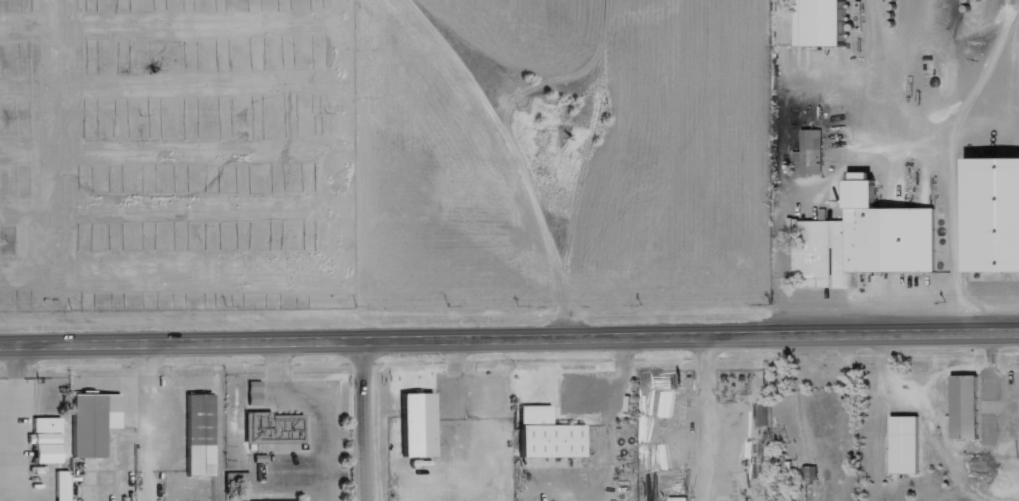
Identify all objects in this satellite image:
building: (827, 22)
road: (509, 153)
building: (811, 154)
building: (997, 214)
building: (872, 237)
road: (509, 340)
building: (256, 392)
building: (969, 406)
building: (96, 421)
road: (370, 421)
building: (421, 423)
building: (275, 426)
building: (202, 434)
building: (550, 434)
building: (49, 439)
building: (908, 444)
building: (64, 485)
building: (281, 500)

